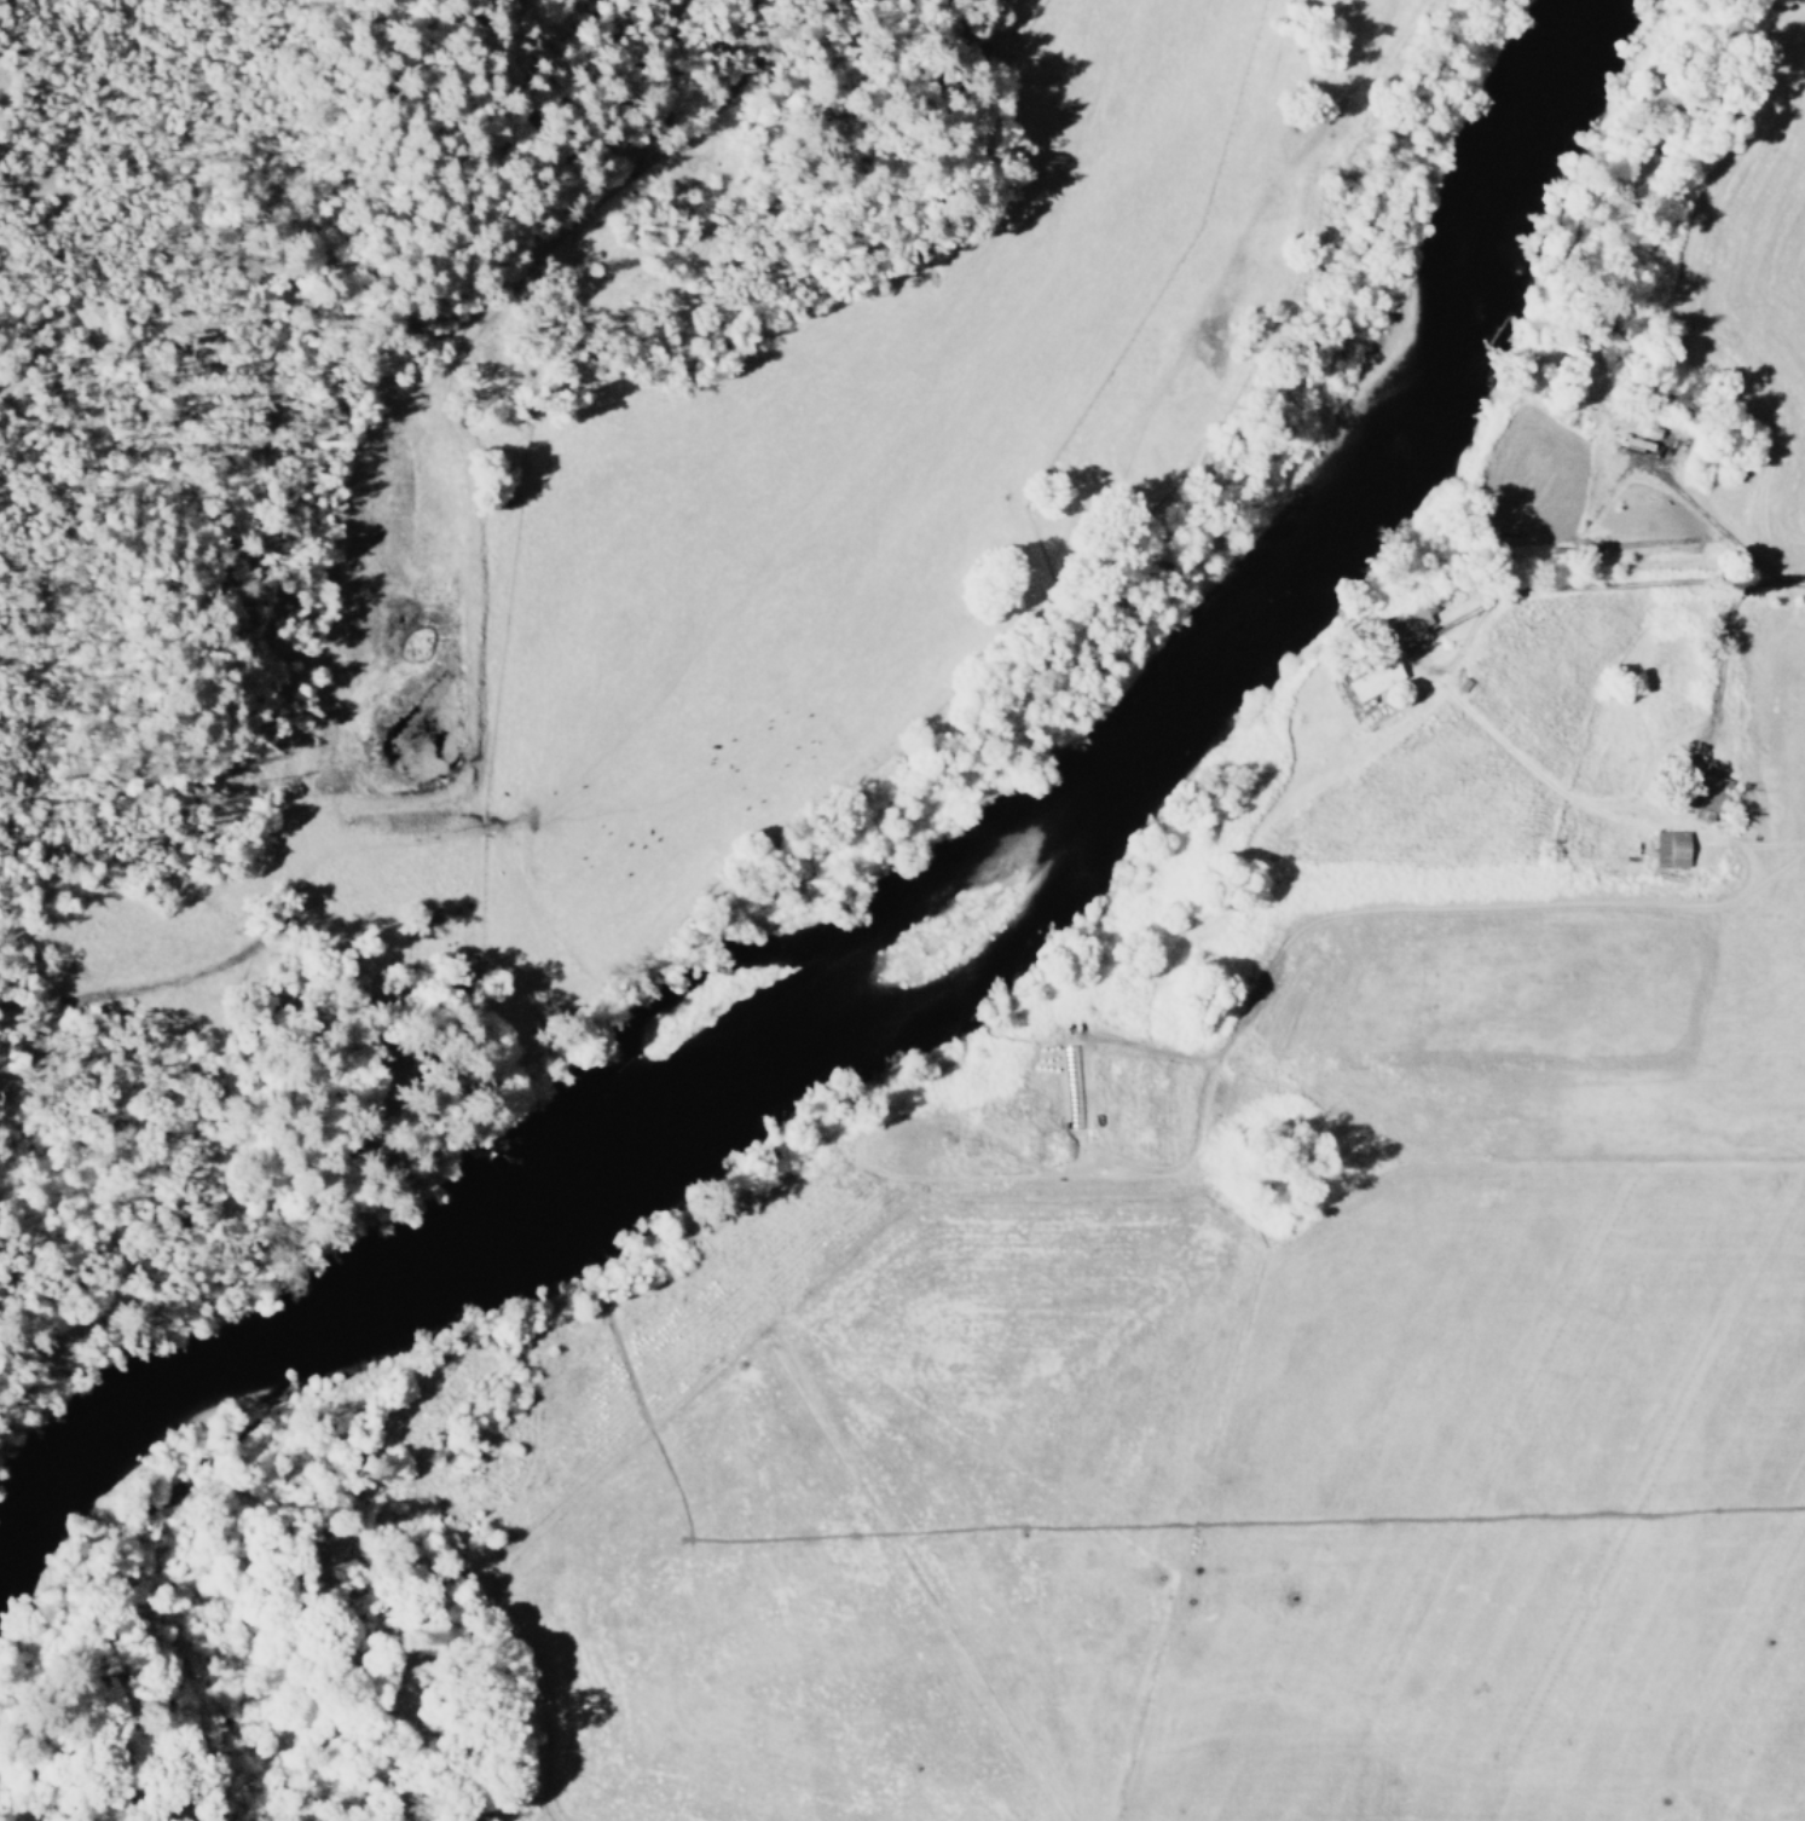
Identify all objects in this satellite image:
road: (1614, 480)
road: (1792, 582)
road: (1521, 591)
building: (1404, 624)
road: (1720, 658)
building: (1371, 678)
building: (1703, 790)
building: (1667, 849)
river: (922, 909)

